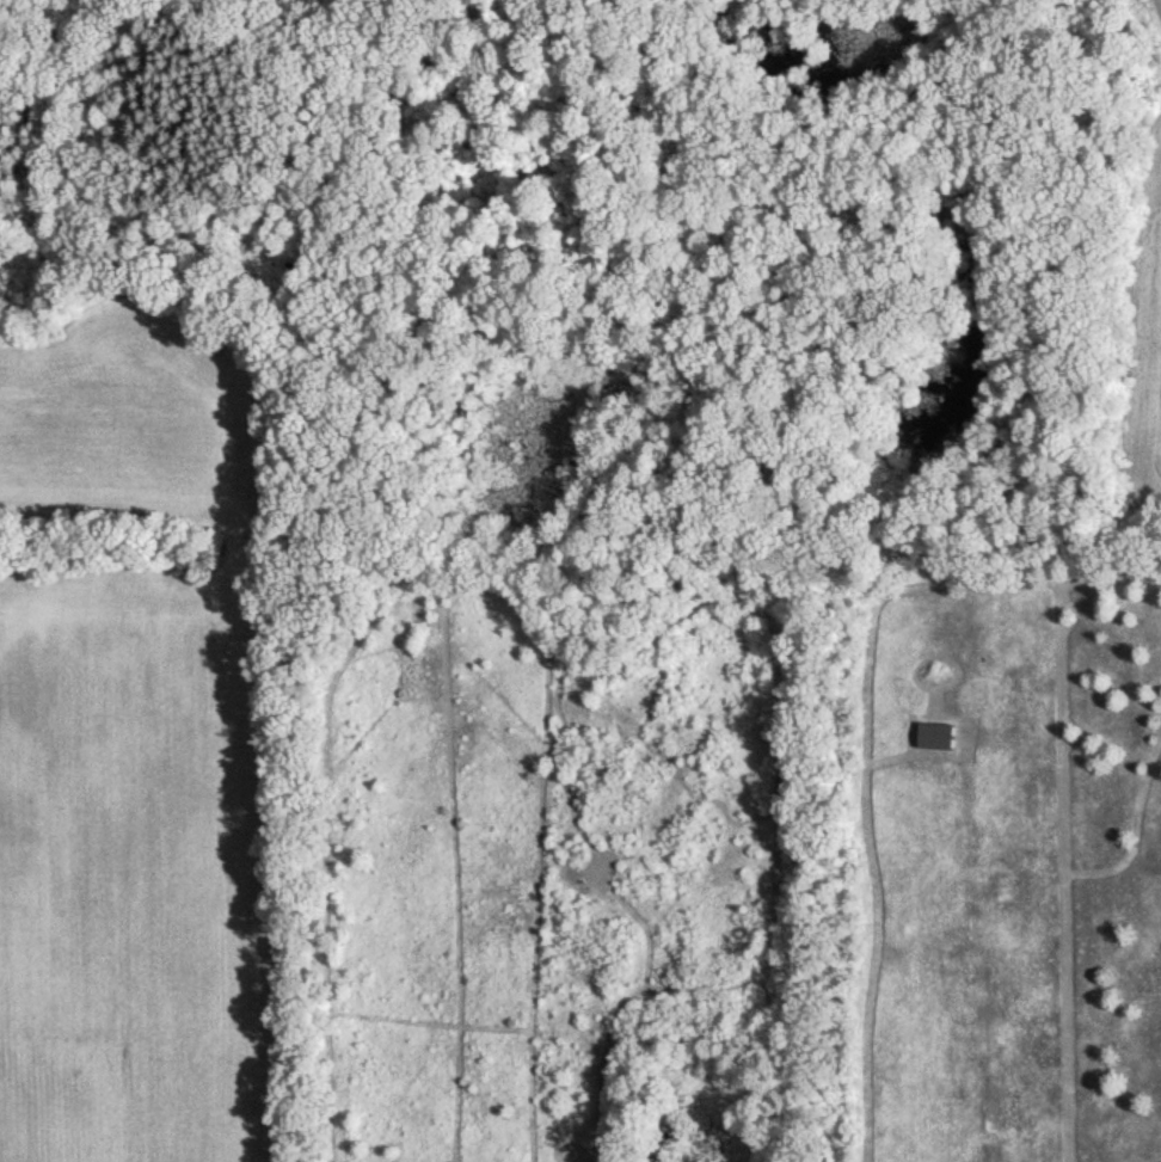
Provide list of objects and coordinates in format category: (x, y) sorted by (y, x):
building: (940, 736)

